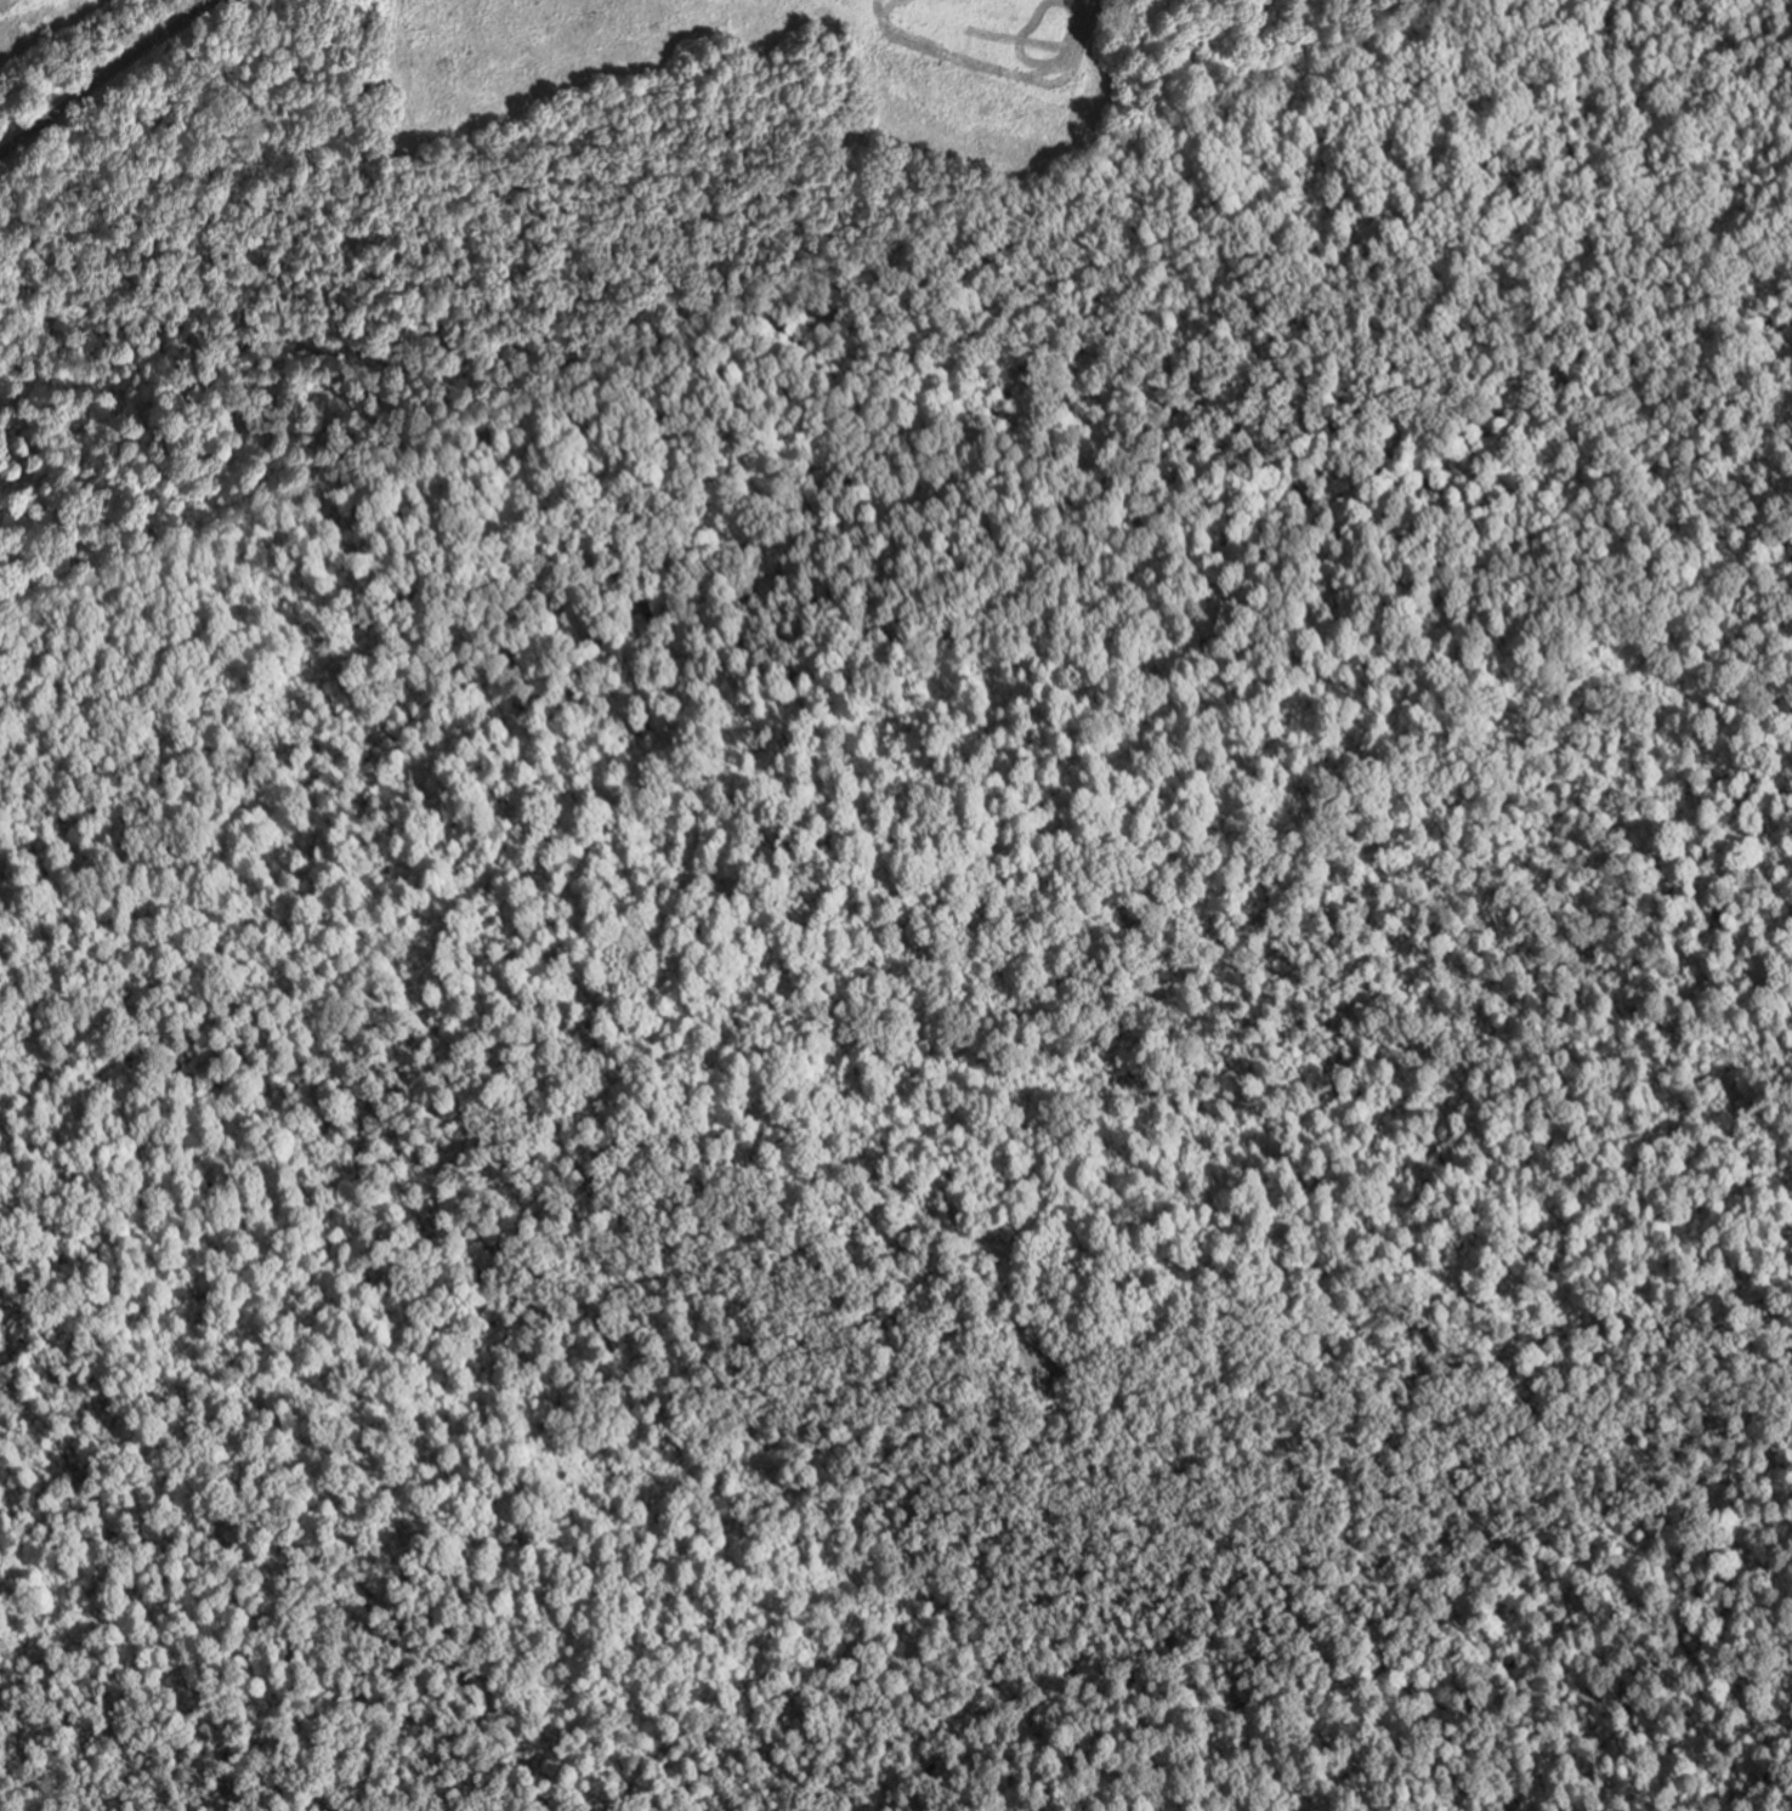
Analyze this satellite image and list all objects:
road: (103, 74)

